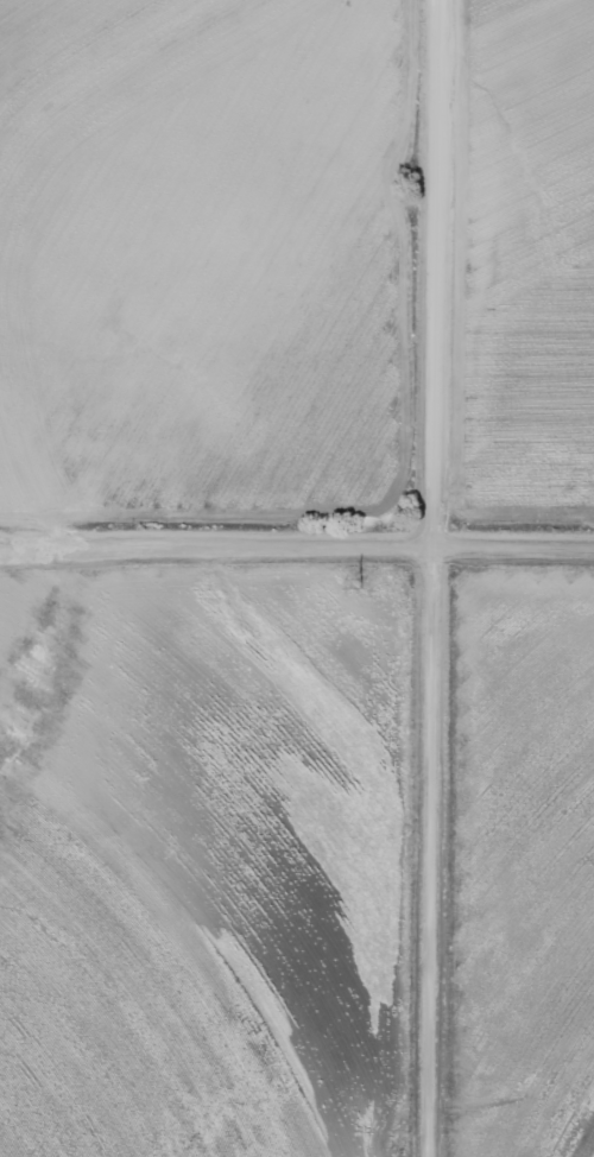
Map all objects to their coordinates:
road: (297, 542)
power tower: (352, 575)
road: (426, 578)

